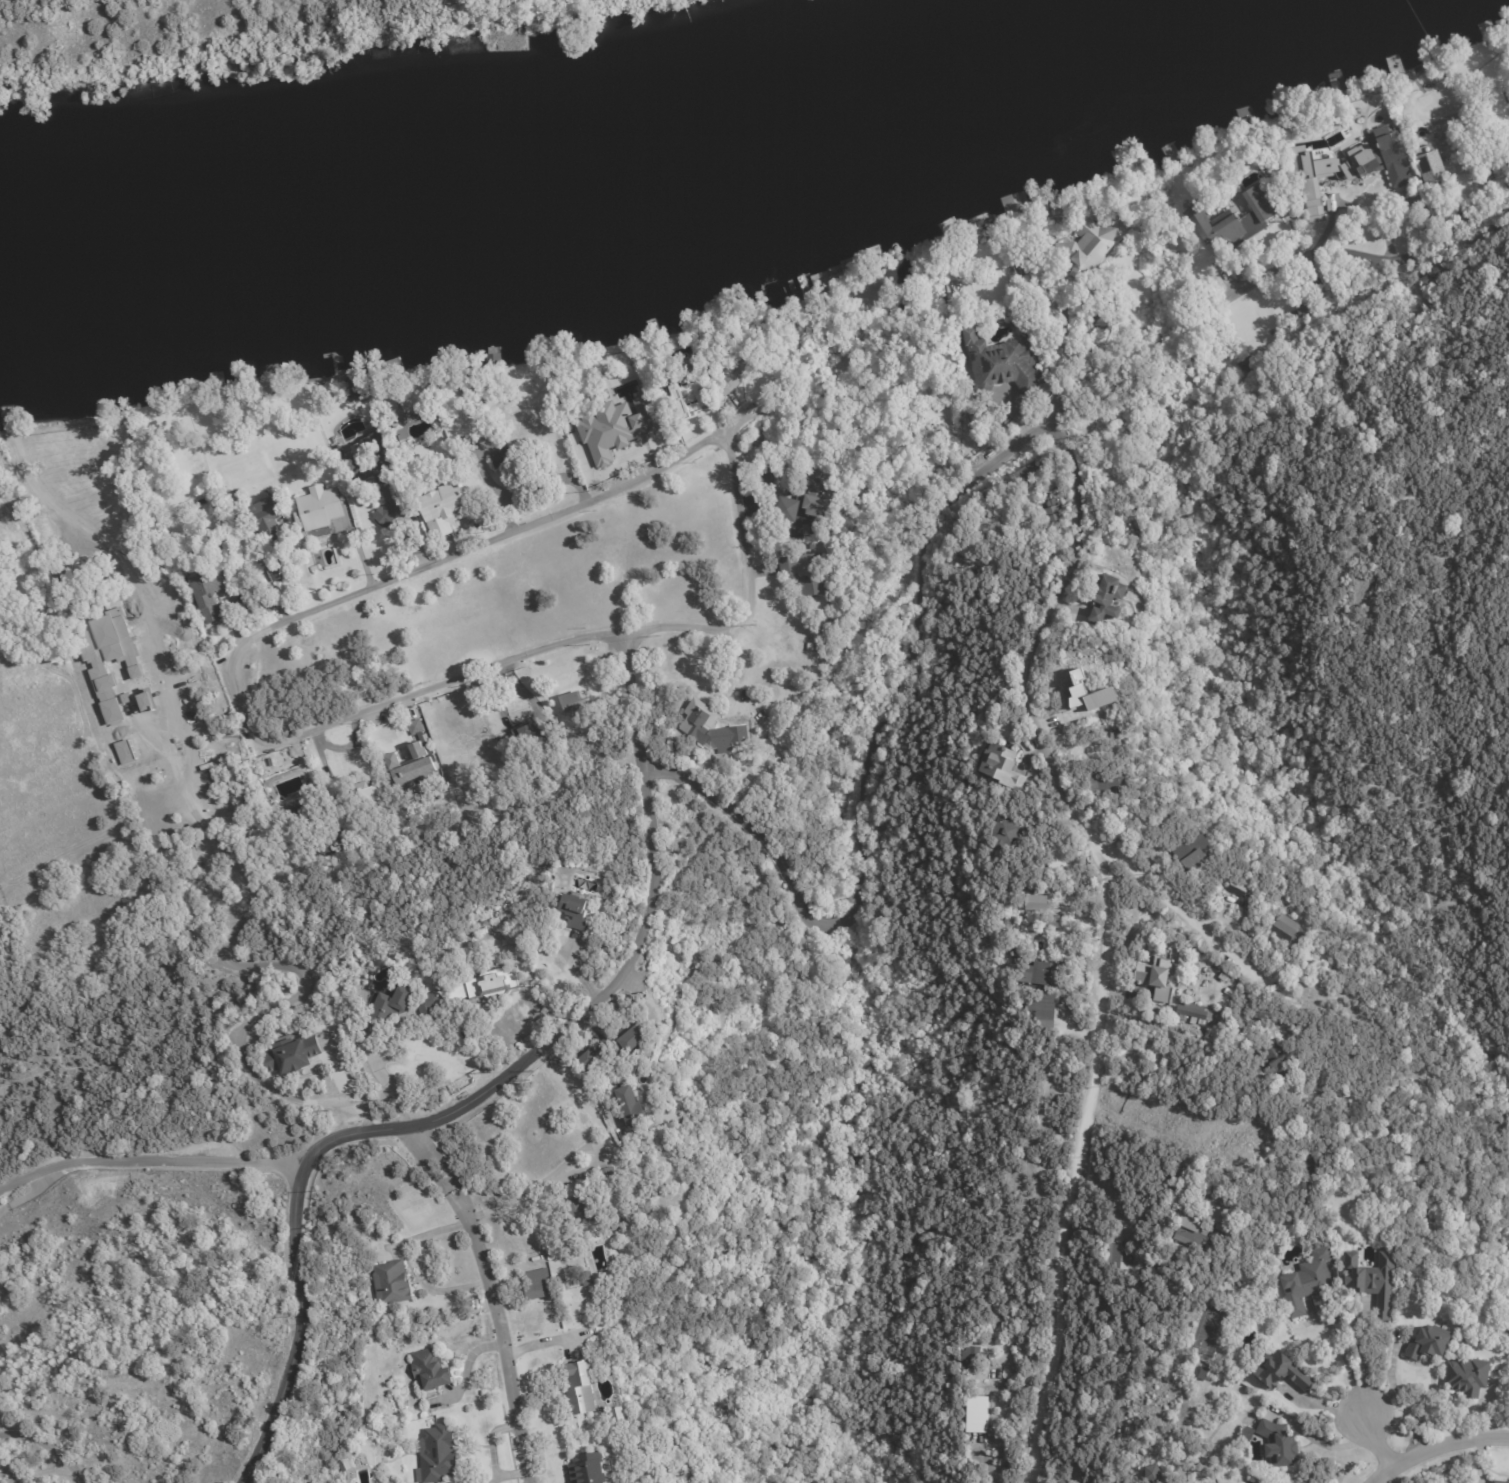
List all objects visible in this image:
building: (1338, 100)
river: (640, 154)
building: (1380, 160)
building: (1430, 171)
building: (1313, 181)
building: (1229, 225)
building: (1096, 246)
building: (1433, 277)
building: (1055, 306)
building: (1103, 311)
building: (1302, 314)
building: (1008, 323)
building: (1093, 354)
building: (660, 355)
building: (1002, 363)
building: (1246, 363)
building: (746, 369)
building: (360, 388)
building: (690, 405)
building: (710, 405)
building: (411, 425)
building: (626, 425)
building: (501, 458)
building: (375, 473)
building: (1026, 475)
building: (803, 496)
building: (445, 508)
building: (321, 509)
building: (1048, 517)
building: (266, 519)
road: (935, 522)
road: (518, 525)
building: (472, 529)
building: (1045, 553)
building: (278, 565)
building: (315, 567)
building: (806, 570)
building: (214, 595)
building: (1105, 599)
building: (815, 649)
road: (542, 651)
building: (108, 658)
building: (1088, 694)
building: (146, 701)
building: (575, 703)
road: (632, 703)
building: (455, 722)
building: (418, 729)
building: (713, 732)
building: (535, 733)
building: (124, 752)
building: (1001, 763)
building: (408, 767)
building: (1110, 781)
building: (355, 797)
building: (305, 828)
building: (349, 828)
building: (1010, 832)
building: (1198, 852)
building: (1242, 888)
building: (1035, 903)
building: (577, 912)
building: (1056, 922)
building: (1010, 924)
building: (1282, 931)
road: (231, 935)
road: (1097, 935)
road: (1217, 945)
building: (1044, 973)
building: (1158, 978)
building: (487, 986)
building: (402, 1008)
building: (1047, 1008)
building: (1195, 1012)
building: (1219, 1012)
building: (1164, 1014)
building: (1232, 1035)
building: (616, 1042)
building: (295, 1055)
building: (1274, 1060)
park: (35, 1073)
road: (355, 1086)
road: (391, 1086)
building: (630, 1106)
road: (428, 1124)
road: (151, 1163)
road: (1108, 1192)
road: (514, 1197)
building: (603, 1204)
building: (1184, 1231)
building: (1212, 1238)
building: (1121, 1258)
road: (421, 1270)
building: (1370, 1277)
building: (603, 1279)
building: (1306, 1281)
building: (395, 1284)
building: (539, 1284)
road: (491, 1299)
building: (1474, 1317)
park: (1207, 1331)
building: (1427, 1342)
building: (1157, 1343)
road: (1359, 1357)
building: (975, 1361)
building: (428, 1367)
building: (1273, 1369)
building: (1466, 1375)
road: (1391, 1382)
building: (583, 1388)
building: (977, 1412)
building: (620, 1415)
building: (1247, 1432)
road: (1318, 1441)
road: (1381, 1441)
building: (1279, 1442)
road: (1438, 1447)
building: (436, 1453)
building: (342, 1464)
building: (590, 1469)
building: (1011, 1470)
building: (1151, 1473)
building: (1252, 1479)
building: (980, 1481)
building: (1498, 1481)

